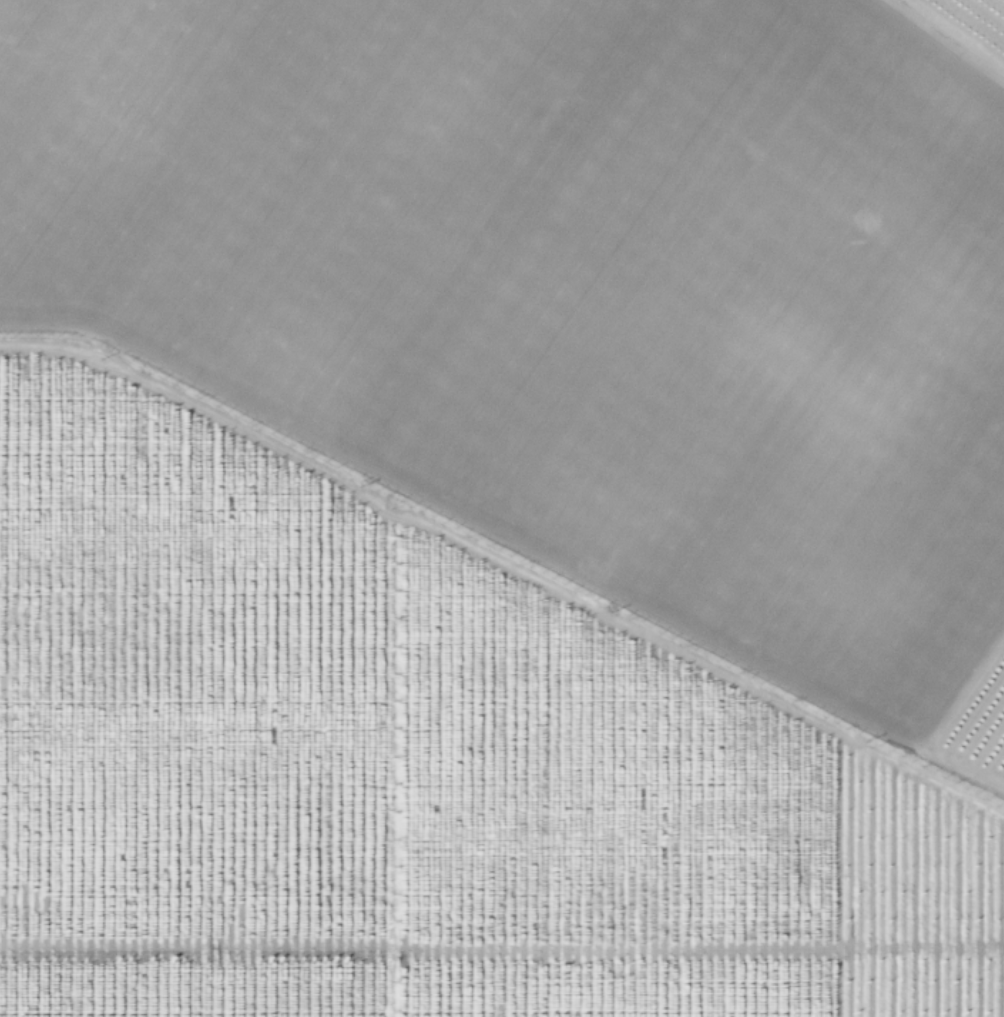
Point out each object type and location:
crop: (575, 281)

